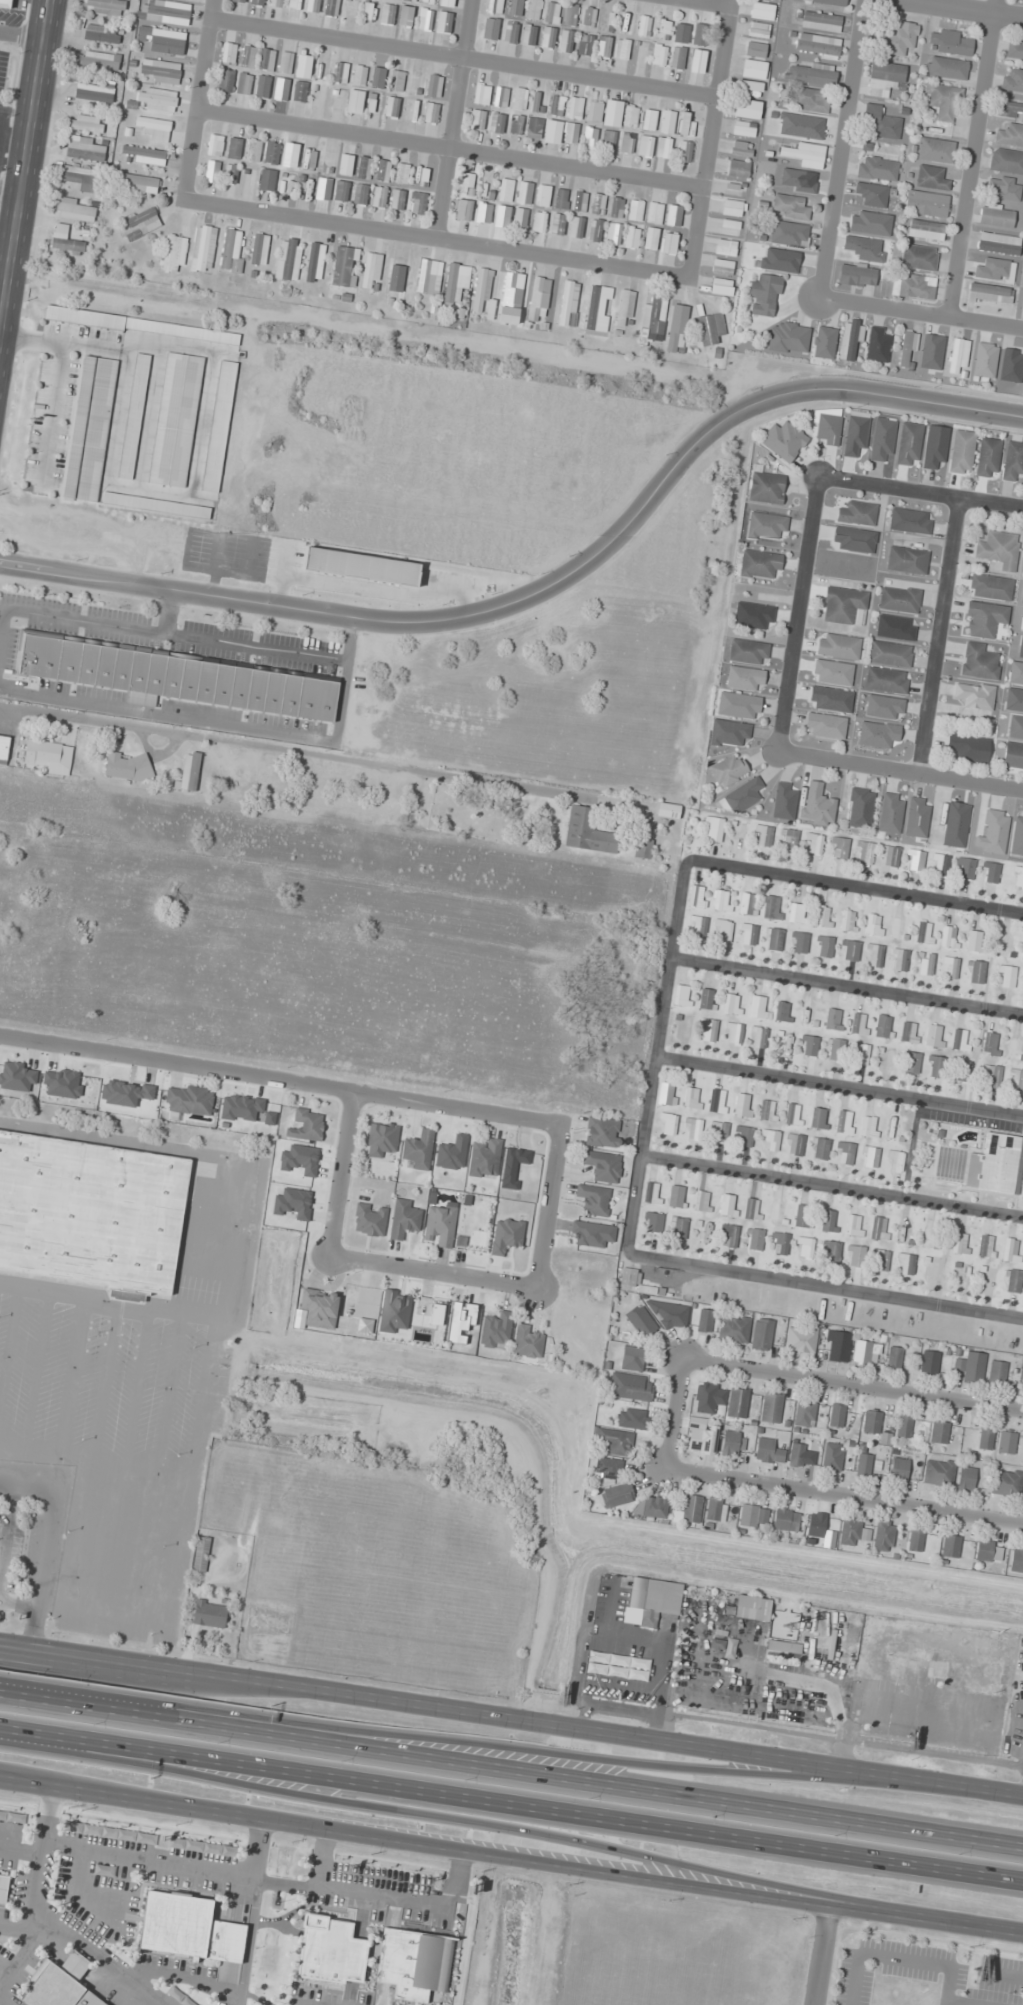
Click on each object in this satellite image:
building: (397, 0)
building: (409, 0)
building: (773, 0)
building: (239, 1)
building: (427, 1)
building: (830, 1)
building: (257, 2)
road: (714, 2)
building: (4, 3)
building: (276, 3)
building: (447, 3)
building: (295, 4)
building: (313, 5)
building: (762, 6)
building: (105, 7)
building: (331, 7)
building: (495, 7)
building: (515, 7)
building: (350, 8)
road: (968, 9)
building: (367, 10)
building: (533, 10)
building: (167, 12)
building: (552, 12)
building: (388, 14)
building: (571, 14)
building: (406, 16)
building: (589, 16)
building: (608, 17)
building: (425, 19)
building: (821, 21)
building: (444, 22)
building: (626, 22)
building: (644, 25)
building: (663, 29)
building: (759, 29)
building: (492, 30)
building: (681, 32)
building: (510, 33)
building: (102, 34)
building: (529, 34)
building: (700, 34)
building: (548, 37)
building: (899, 38)
building: (165, 40)
building: (566, 40)
road: (23, 41)
building: (951, 42)
building: (585, 45)
building: (817, 45)
building: (604, 47)
building: (622, 48)
building: (755, 49)
building: (1015, 50)
building: (229, 53)
building: (659, 55)
building: (248, 56)
building: (678, 57)
building: (267, 59)
road: (464, 60)
building: (99, 61)
building: (320, 61)
building: (698, 61)
building: (285, 63)
building: (303, 65)
building: (753, 68)
building: (946, 68)
building: (161, 71)
building: (341, 72)
building: (811, 73)
building: (359, 75)
building: (378, 77)
building: (885, 78)
building: (226, 80)
building: (396, 80)
building: (244, 84)
building: (434, 85)
building: (263, 86)
building: (281, 89)
building: (94, 91)
building: (300, 91)
building: (482, 94)
building: (501, 97)
building: (156, 99)
road: (202, 99)
building: (519, 99)
building: (811, 100)
building: (355, 101)
building: (535, 101)
building: (942, 101)
building: (374, 104)
building: (556, 105)
building: (392, 106)
building: (575, 107)
building: (747, 109)
building: (1011, 109)
building: (594, 111)
building: (431, 112)
building: (612, 114)
building: (630, 116)
building: (478, 119)
building: (649, 119)
road: (455, 120)
building: (668, 122)
building: (881, 122)
building: (87, 123)
building: (497, 123)
building: (516, 124)
building: (686, 124)
building: (801, 126)
building: (534, 127)
building: (744, 128)
building: (155, 129)
building: (554, 130)
building: (571, 133)
building: (1010, 135)
building: (590, 137)
road: (709, 138)
building: (608, 140)
building: (627, 143)
building: (215, 145)
building: (645, 146)
road: (845, 147)
building: (234, 148)
building: (664, 148)
building: (85, 149)
building: (742, 149)
building: (253, 150)
road: (451, 150)
building: (936, 150)
building: (684, 151)
building: (801, 152)
building: (272, 153)
building: (145, 155)
building: (290, 155)
road: (974, 158)
building: (309, 159)
building: (343, 161)
building: (1006, 161)
building: (364, 167)
building: (738, 168)
building: (877, 169)
building: (383, 170)
building: (212, 171)
building: (230, 173)
building: (402, 173)
building: (421, 176)
building: (81, 177)
building: (931, 178)
building: (267, 179)
road: (26, 180)
building: (796, 181)
building: (286, 182)
building: (140, 183)
building: (468, 184)
building: (323, 188)
building: (1004, 188)
building: (341, 190)
building: (506, 190)
building: (734, 190)
road: (12, 192)
building: (524, 192)
building: (361, 193)
building: (872, 194)
building: (543, 195)
building: (379, 197)
building: (398, 199)
building: (561, 199)
building: (580, 201)
building: (418, 202)
building: (927, 203)
building: (598, 204)
building: (790, 206)
building: (616, 207)
building: (733, 208)
building: (75, 209)
building: (464, 209)
building: (635, 210)
building: (484, 212)
building: (654, 213)
building: (673, 215)
building: (996, 215)
building: (502, 216)
building: (520, 219)
building: (144, 220)
building: (540, 222)
building: (870, 222)
building: (558, 224)
building: (576, 227)
building: (729, 227)
building: (596, 230)
building: (926, 230)
building: (613, 233)
building: (789, 233)
building: (632, 236)
building: (651, 238)
building: (66, 240)
road: (439, 241)
building: (670, 243)
building: (998, 243)
building: (725, 247)
building: (203, 248)
building: (865, 248)
building: (259, 249)
building: (233, 251)
building: (174, 254)
building: (919, 257)
building: (288, 258)
building: (315, 262)
building: (345, 266)
building: (723, 267)
building: (371, 270)
building: (995, 270)
road: (6, 274)
building: (857, 275)
building: (429, 276)
building: (397, 279)
building: (456, 281)
building: (721, 283)
building: (913, 286)
building: (482, 288)
building: (513, 290)
building: (990, 293)
building: (765, 295)
building: (539, 297)
building: (568, 303)
building: (599, 305)
building: (625, 306)
road: (922, 312)
building: (654, 320)
building: (677, 327)
building: (710, 328)
building: (788, 338)
building: (851, 340)
building: (824, 342)
building: (878, 344)
building: (959, 356)
building: (983, 358)
building: (1011, 365)
building: (828, 429)
building: (855, 434)
building: (882, 440)
building: (784, 441)
building: (909, 443)
building: (935, 450)
building: (962, 452)
building: (988, 457)
building: (1013, 460)
building: (767, 486)
road: (919, 490)
building: (857, 512)
building: (910, 521)
building: (767, 526)
building: (854, 539)
building: (999, 549)
building: (907, 560)
building: (760, 564)
road: (544, 587)
building: (991, 587)
building: (900, 599)
building: (844, 606)
road: (797, 611)
building: (754, 616)
building: (985, 619)
building: (896, 627)
road: (938, 634)
building: (838, 646)
building: (1021, 648)
building: (749, 652)
building: (890, 653)
building: (832, 672)
building: (1016, 673)
building: (179, 676)
building: (745, 678)
building: (887, 680)
building: (975, 695)
building: (831, 699)
building: (1014, 700)
building: (739, 705)
building: (885, 707)
building: (826, 725)
building: (1016, 727)
building: (730, 733)
building: (878, 734)
building: (969, 747)
building: (4, 748)
road: (323, 754)
building: (50, 755)
building: (1013, 755)
building: (128, 766)
road: (900, 768)
building: (729, 770)
building: (191, 775)
building: (743, 796)
building: (784, 802)
building: (819, 805)
building: (861, 808)
building: (668, 810)
building: (890, 816)
building: (918, 817)
building: (956, 824)
building: (714, 829)
building: (587, 832)
building: (994, 833)
building: (763, 835)
building: (1017, 836)
building: (738, 839)
building: (790, 839)
building: (814, 843)
building: (841, 848)
building: (643, 849)
building: (865, 852)
building: (891, 856)
building: (915, 860)
building: (940, 864)
building: (965, 868)
building: (990, 872)
building: (1018, 877)
road: (857, 886)
building: (694, 895)
building: (722, 900)
building: (746, 903)
building: (772, 907)
building: (797, 913)
building: (823, 916)
building: (847, 920)
building: (874, 925)
building: (697, 926)
building: (896, 927)
building: (722, 930)
building: (925, 933)
building: (948, 937)
building: (774, 939)
building: (976, 940)
building: (799, 942)
building: (823, 946)
building: (849, 950)
building: (875, 956)
building: (899, 960)
building: (925, 964)
building: (951, 968)
building: (976, 971)
building: (1006, 976)
road: (847, 985)
building: (682, 995)
building: (707, 999)
building: (732, 1004)
building: (758, 1007)
building: (783, 1011)
building: (834, 1019)
building: (859, 1024)
building: (883, 1026)
building: (708, 1030)
building: (909, 1032)
building: (733, 1033)
building: (935, 1036)
building: (758, 1037)
building: (991, 1043)
building: (808, 1045)
building: (836, 1049)
road: (654, 1053)
building: (859, 1054)
building: (911, 1063)
building: (935, 1066)
building: (963, 1070)
building: (991, 1076)
building: (1017, 1078)
road: (280, 1079)
road: (838, 1087)
building: (667, 1094)
building: (692, 1098)
building: (189, 1100)
building: (717, 1101)
building: (743, 1105)
building: (767, 1110)
building: (792, 1114)
building: (819, 1118)
building: (668, 1123)
building: (845, 1123)
building: (307, 1126)
building: (869, 1127)
building: (693, 1128)
building: (891, 1129)
building: (603, 1132)
building: (719, 1132)
building: (743, 1136)
building: (382, 1139)
building: (796, 1143)
building: (819, 1148)
building: (419, 1149)
building: (845, 1151)
building: (870, 1157)
building: (485, 1159)
building: (895, 1160)
building: (996, 1164)
building: (603, 1166)
road: (340, 1171)
road: (831, 1187)
building: (651, 1193)
building: (676, 1196)
building: (595, 1200)
building: (702, 1201)
road: (548, 1204)
building: (729, 1205)
building: (752, 1209)
building: (91, 1214)
building: (802, 1216)
building: (370, 1219)
building: (403, 1219)
building: (829, 1221)
building: (653, 1222)
building: (440, 1225)
building: (854, 1225)
building: (679, 1228)
building: (879, 1228)
building: (506, 1235)
building: (728, 1236)
building: (755, 1240)
building: (780, 1243)
building: (960, 1243)
building: (986, 1246)
building: (803, 1247)
building: (1010, 1250)
building: (831, 1252)
building: (854, 1256)
building: (880, 1260)
building: (905, 1264)
road: (432, 1269)
building: (630, 1277)
building: (1013, 1281)
road: (824, 1286)
building: (394, 1310)
building: (705, 1320)
building: (641, 1321)
building: (460, 1323)
building: (734, 1329)
building: (496, 1330)
building: (762, 1334)
building: (801, 1340)
building: (528, 1341)
building: (837, 1346)
building: (862, 1351)
building: (632, 1358)
building: (894, 1359)
building: (929, 1362)
building: (974, 1367)
building: (997, 1372)
building: (631, 1387)
road: (855, 1390)
building: (705, 1398)
building: (737, 1403)
building: (771, 1408)
building: (805, 1413)
building: (836, 1415)
building: (631, 1418)
road: (680, 1418)
building: (871, 1422)
building: (904, 1425)
building: (939, 1432)
building: (986, 1438)
building: (703, 1439)
building: (615, 1441)
building: (1006, 1442)
building: (733, 1443)
building: (768, 1451)
building: (797, 1455)
building: (832, 1458)
building: (864, 1464)
building: (608, 1468)
building: (899, 1469)
building: (938, 1473)
building: (966, 1479)
building: (1007, 1482)
building: (617, 1495)
road: (848, 1497)
building: (652, 1508)
building: (691, 1508)
building: (716, 1509)
building: (753, 1516)
building: (786, 1520)
building: (816, 1524)
building: (850, 1531)
building: (883, 1536)
building: (916, 1540)
building: (950, 1546)
building: (984, 1550)
building: (201, 1553)
building: (1016, 1560)
building: (653, 1598)
building: (750, 1608)
building: (211, 1613)
building: (721, 1642)
building: (783, 1647)
road: (5, 1649)
building: (843, 1663)
building: (627, 1673)
road: (511, 1720)
road: (574, 1753)
road: (511, 1771)
road: (511, 1805)
road: (482, 1825)
road: (20, 1851)
road: (146, 1857)
road: (511, 1860)
road: (320, 1861)
road: (38, 1873)
building: (2, 1888)
road: (382, 1900)
road: (252, 1911)
building: (185, 1928)
building: (327, 1950)
road: (816, 1956)
road: (96, 1958)
road: (18, 1961)
building: (410, 1966)
road: (6, 1967)
building: (58, 1985)

